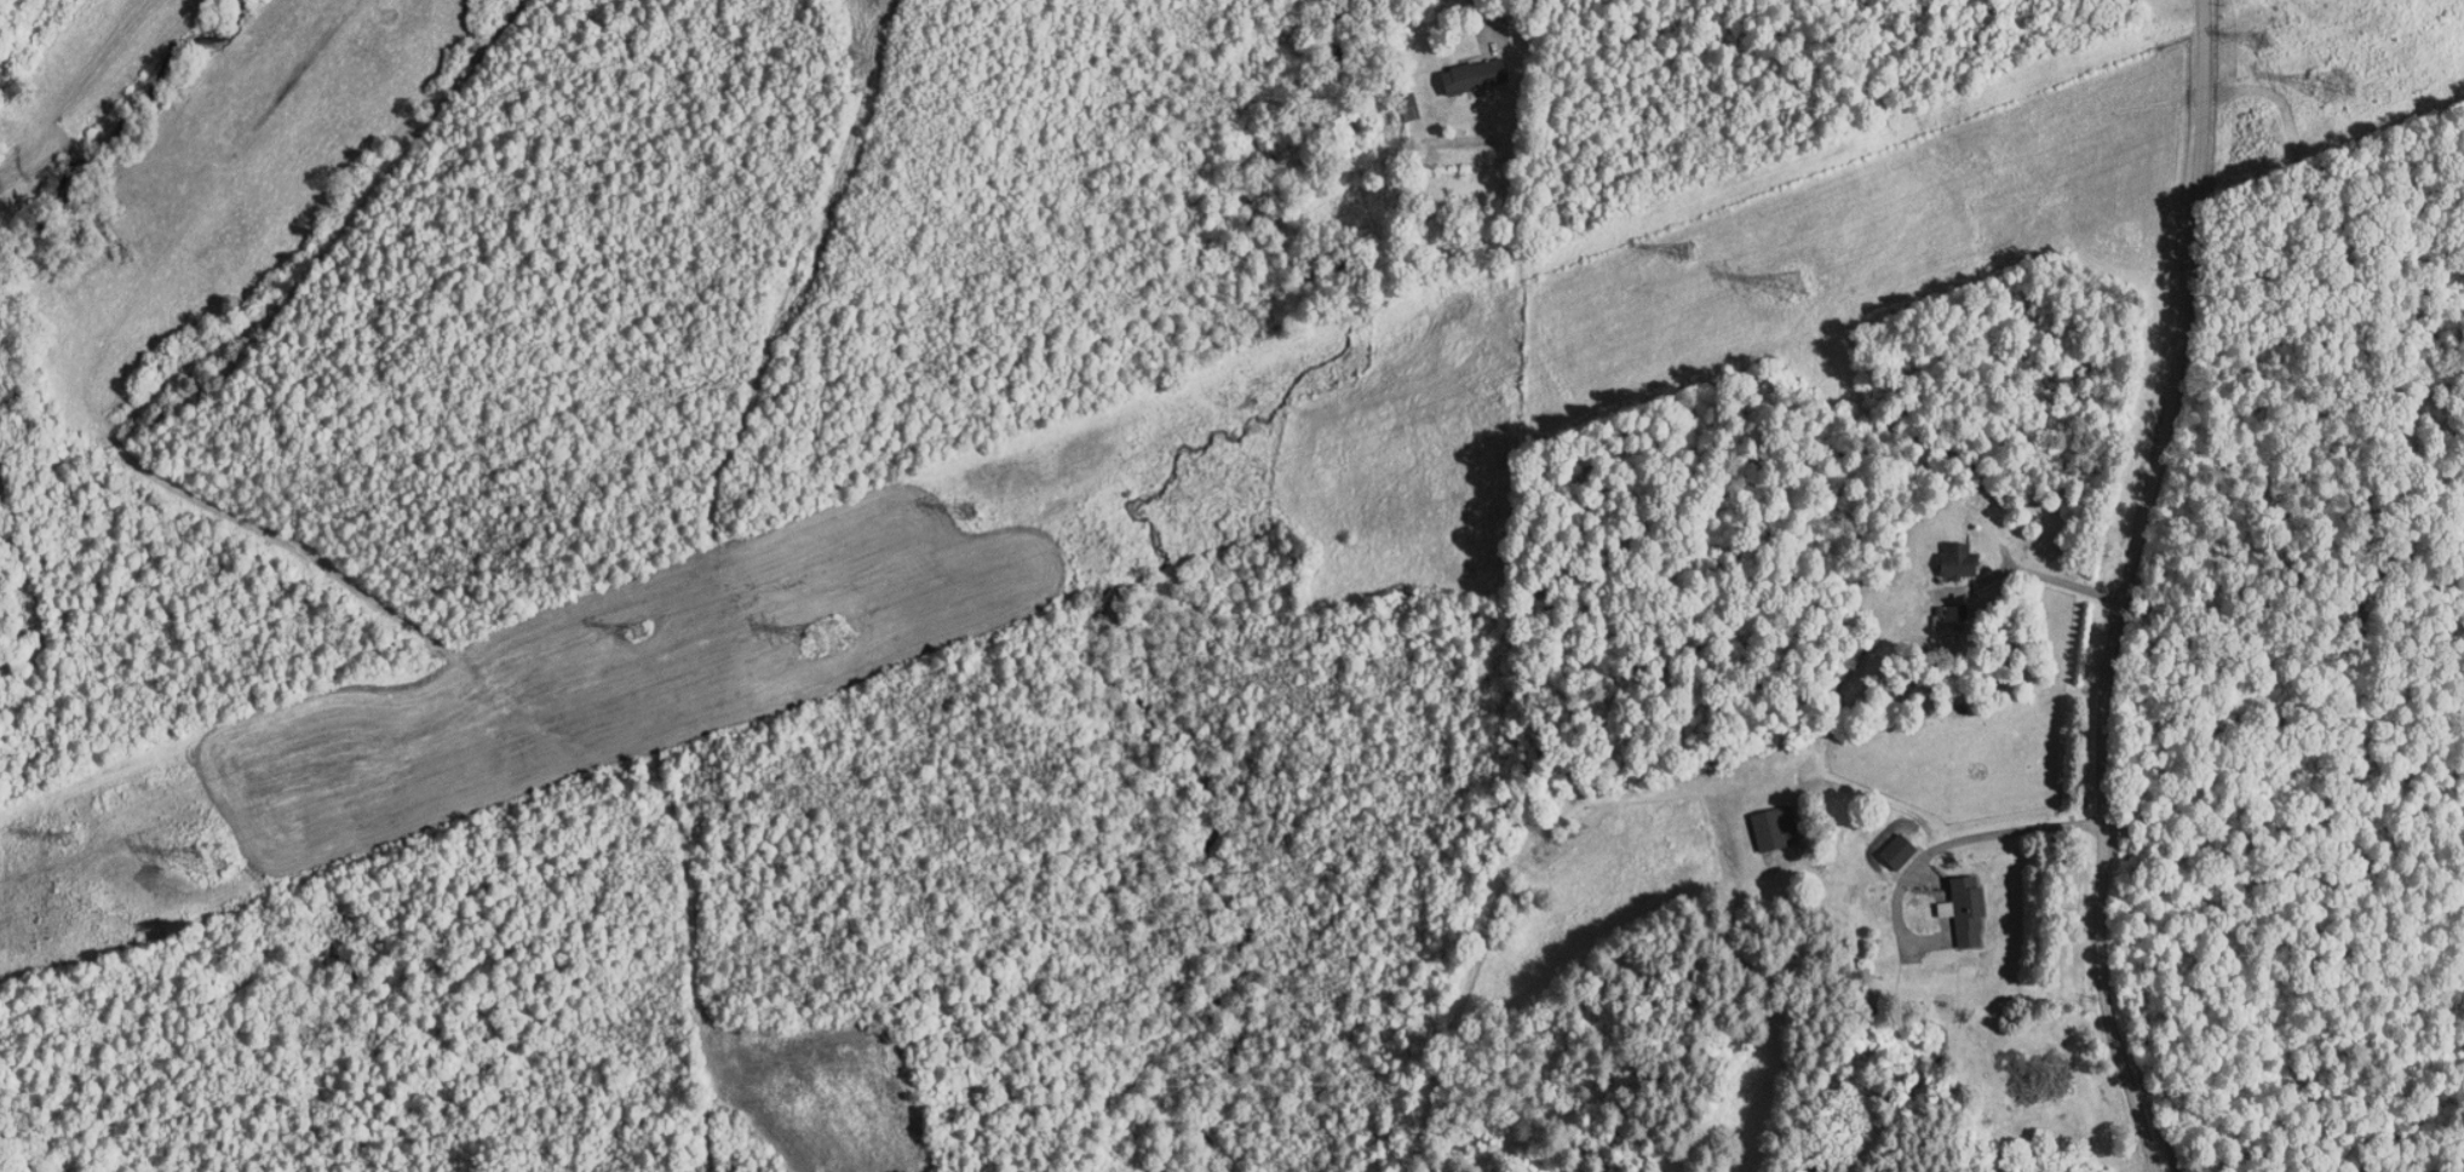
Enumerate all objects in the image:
power tower: (2259, 42)
building: (1459, 68)
power tower: (2336, 79)
building: (1394, 98)
power tower: (1681, 251)
power tower: (1785, 287)
power tower: (964, 513)
building: (1941, 552)
road: (2039, 574)
road: (2124, 585)
power tower: (637, 632)
power tower: (820, 634)
building: (1761, 820)
road: (1963, 839)
power tower: (62, 841)
building: (1882, 843)
power tower: (202, 862)
building: (1949, 903)

